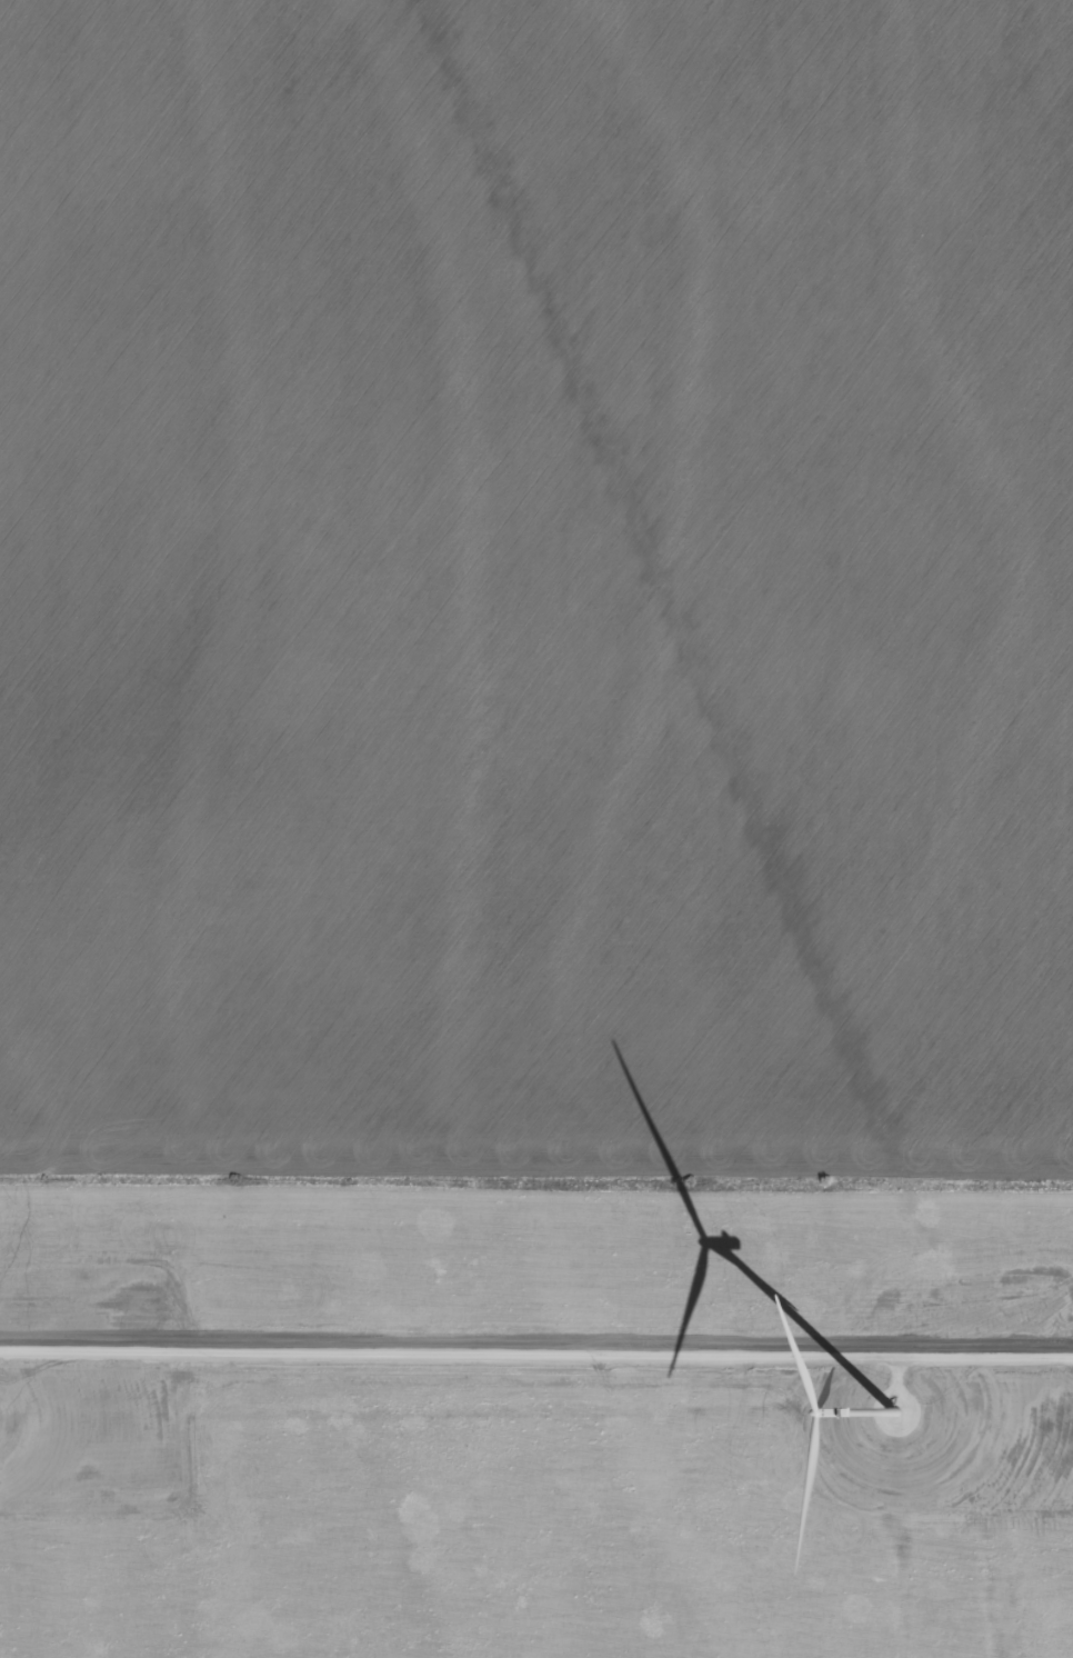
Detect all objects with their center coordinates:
wind turbine: (890, 1411)

